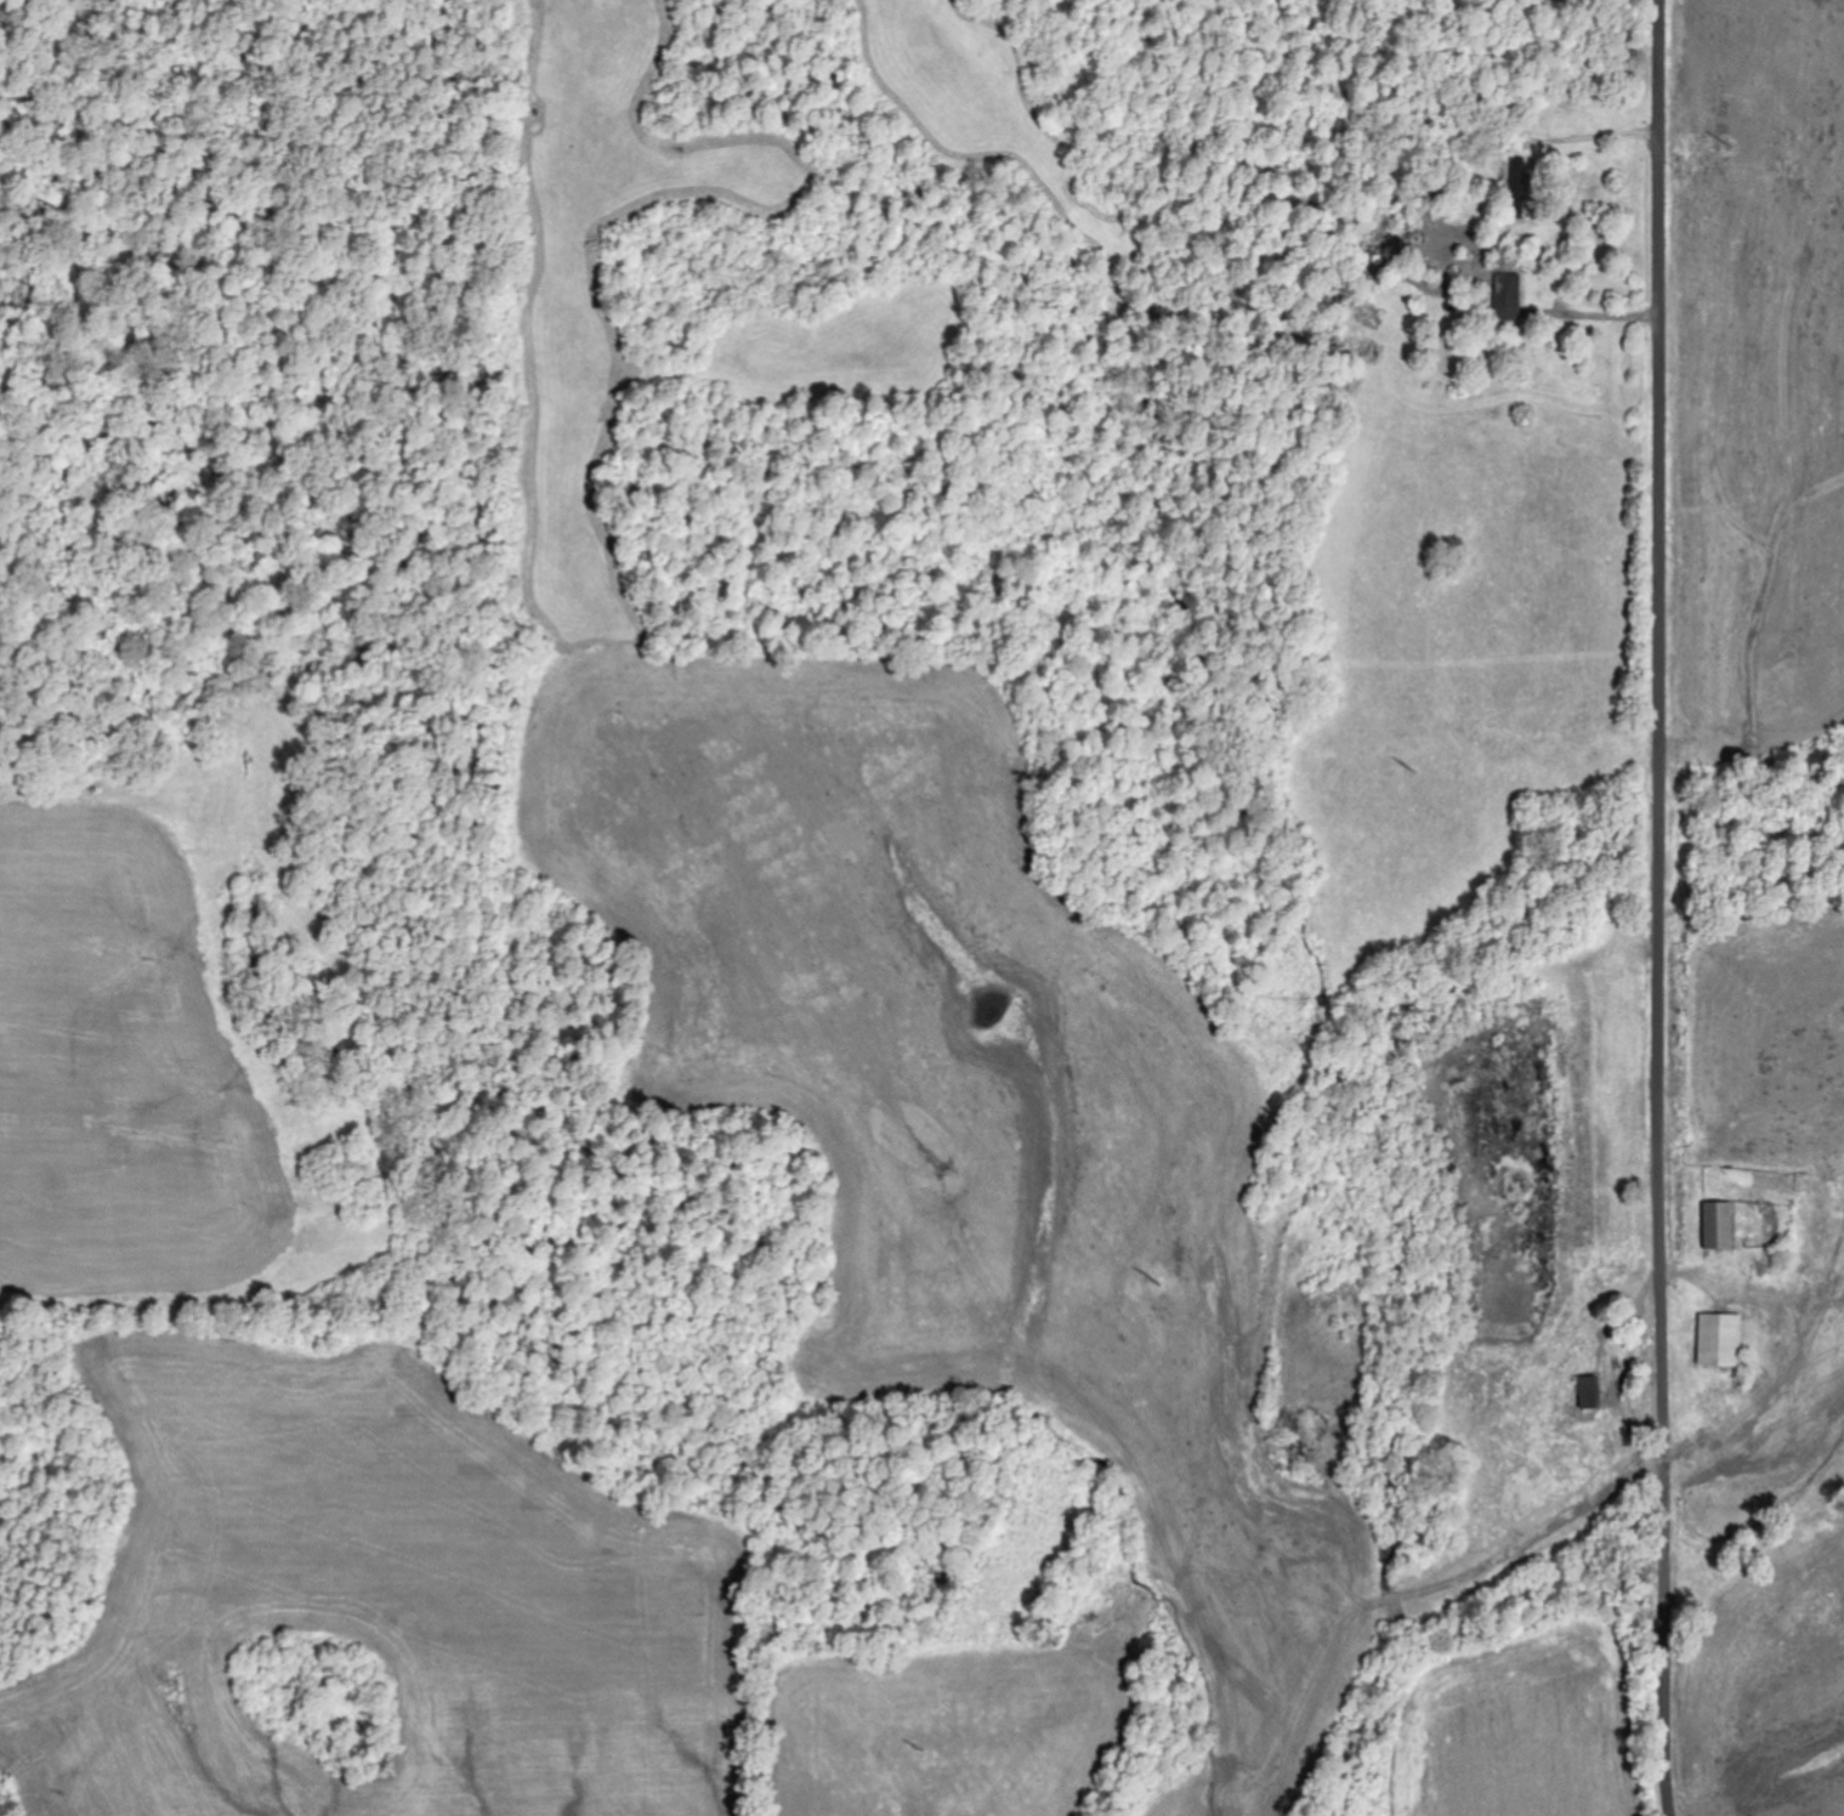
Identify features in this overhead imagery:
building: (1519, 176)
building: (1509, 297)
road: (1661, 908)
building: (1720, 1227)
building: (1723, 1341)
building: (1591, 1394)

